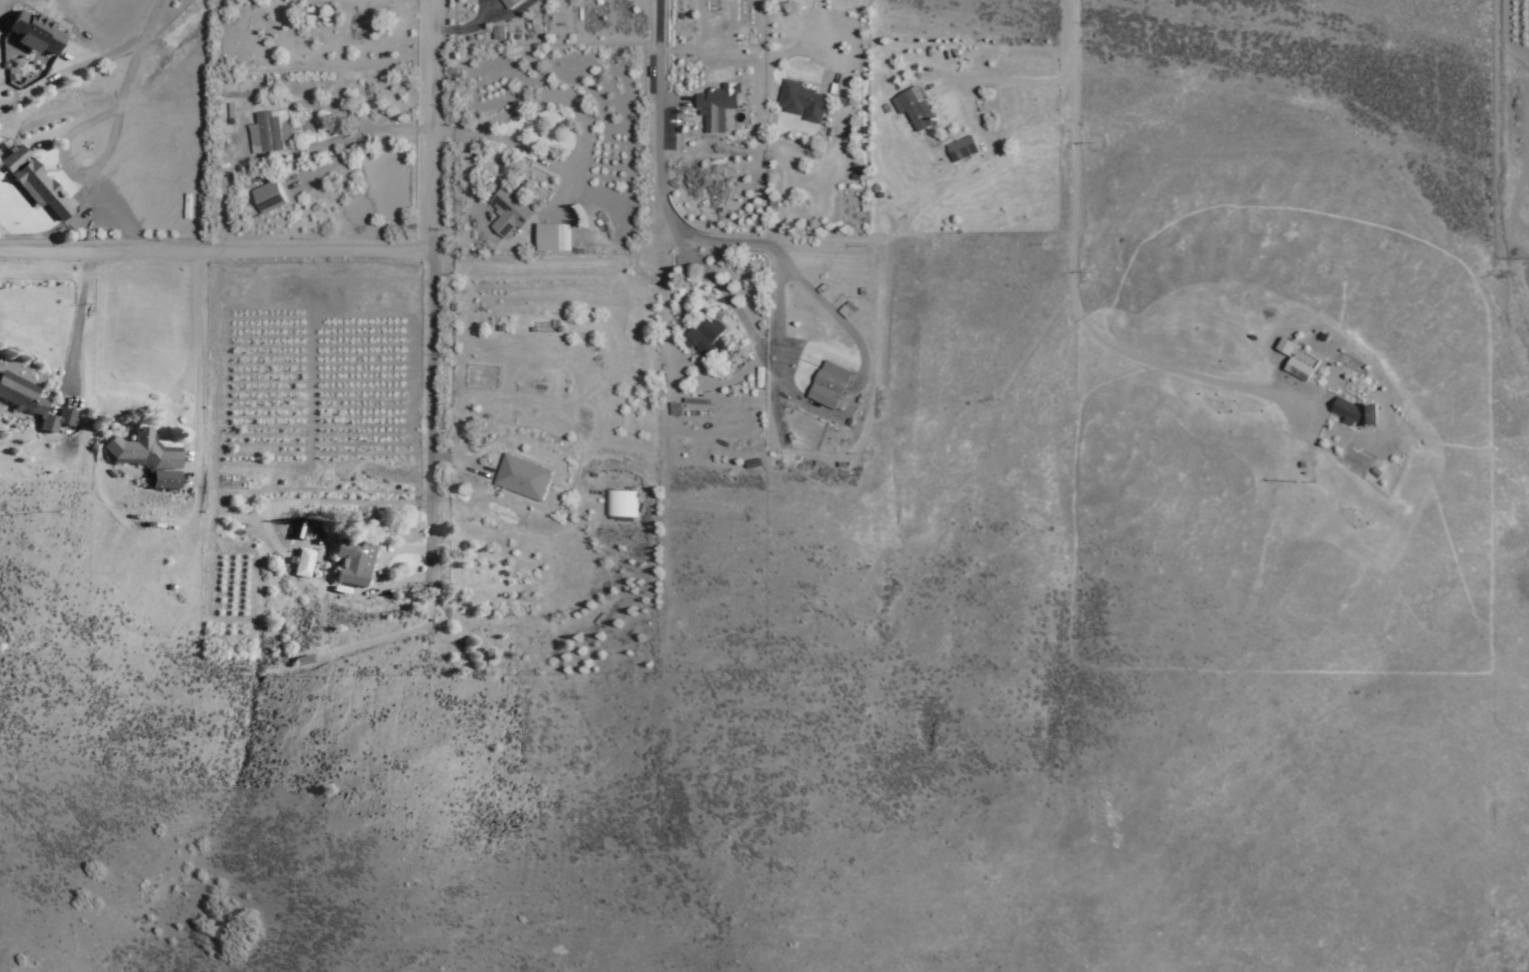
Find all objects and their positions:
building: (509, 3)
building: (718, 101)
building: (802, 102)
building: (915, 108)
building: (270, 131)
building: (962, 148)
road: (656, 181)
building: (37, 188)
building: (268, 197)
building: (509, 212)
building: (553, 238)
road: (215, 245)
road: (431, 292)
road: (1076, 305)
building: (705, 338)
building: (1296, 374)
building: (829, 385)
building: (31, 402)
building: (1354, 411)
crop: (536, 443)
building: (143, 450)
crop: (283, 456)
building: (521, 476)
building: (164, 479)
building: (351, 561)
building: (301, 562)

